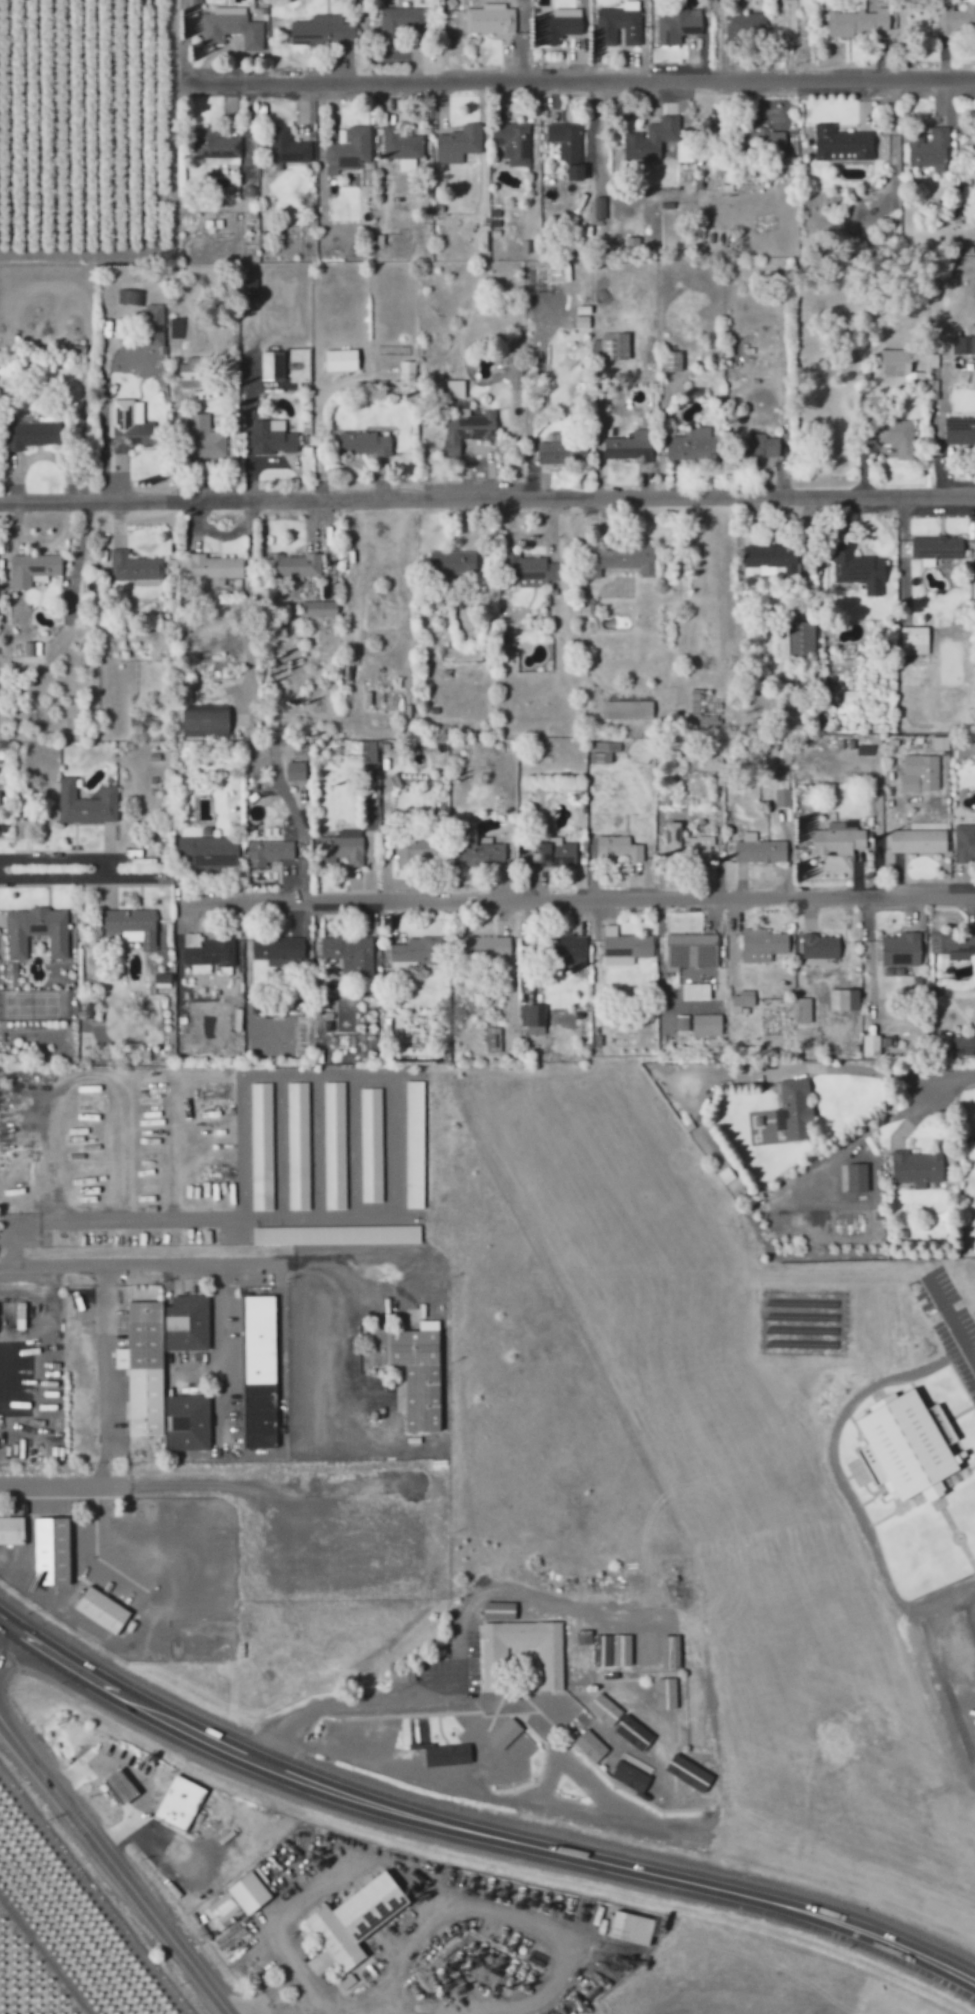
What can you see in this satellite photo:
building: (191, 1)
building: (226, 5)
building: (956, 18)
building: (490, 19)
building: (859, 21)
building: (399, 22)
building: (619, 22)
building: (227, 24)
building: (559, 25)
building: (744, 26)
building: (677, 27)
building: (321, 30)
road: (591, 76)
building: (338, 131)
building: (647, 134)
building: (562, 135)
building: (756, 136)
building: (509, 137)
building: (838, 138)
building: (211, 139)
building: (398, 139)
building: (454, 139)
building: (284, 142)
building: (347, 143)
building: (925, 143)
building: (219, 155)
building: (403, 160)
building: (249, 286)
building: (154, 325)
building: (964, 344)
building: (611, 346)
building: (341, 360)
building: (672, 361)
building: (898, 364)
building: (272, 365)
building: (513, 369)
building: (193, 373)
building: (407, 375)
building: (455, 389)
building: (129, 428)
building: (959, 433)
building: (33, 434)
building: (201, 437)
building: (272, 437)
building: (897, 437)
building: (364, 443)
building: (692, 445)
building: (629, 446)
building: (761, 447)
building: (560, 450)
road: (487, 494)
building: (936, 549)
building: (771, 556)
building: (622, 559)
building: (453, 563)
building: (293, 565)
building: (215, 566)
building: (33, 569)
building: (528, 570)
building: (859, 570)
building: (320, 608)
building: (798, 640)
building: (914, 640)
building: (705, 709)
building: (628, 710)
building: (205, 720)
building: (604, 752)
building: (296, 771)
building: (920, 773)
building: (783, 798)
building: (86, 804)
building: (271, 820)
building: (838, 839)
building: (918, 841)
building: (964, 842)
building: (342, 847)
building: (686, 847)
road: (82, 849)
building: (617, 849)
building: (480, 850)
building: (759, 850)
building: (210, 852)
building: (269, 852)
building: (415, 852)
building: (553, 853)
road: (615, 891)
building: (131, 926)
building: (37, 931)
building: (953, 944)
building: (762, 945)
building: (628, 946)
building: (484, 947)
building: (570, 949)
building: (690, 949)
building: (821, 949)
building: (902, 950)
building: (278, 951)
building: (416, 951)
building: (350, 954)
building: (208, 955)
building: (618, 961)
building: (162, 978)
building: (742, 999)
building: (804, 1010)
building: (88, 1011)
building: (533, 1018)
building: (682, 1023)
building: (707, 1025)
building: (492, 1040)
building: (963, 1045)
building: (945, 1047)
road: (854, 1070)
road: (953, 1076)
building: (794, 1110)
building: (371, 1145)
building: (414, 1145)
building: (298, 1146)
building: (334, 1146)
building: (262, 1147)
building: (918, 1168)
building: (857, 1178)
building: (337, 1235)
road: (221, 1259)
road: (952, 1321)
building: (413, 1370)
building: (259, 1371)
building: (145, 1383)
building: (883, 1402)
building: (908, 1449)
road: (57, 1489)
building: (12, 1531)
building: (52, 1552)
building: (102, 1609)
road: (2, 1619)
road: (2, 1626)
building: (584, 1636)
building: (550, 1668)
building: (406, 1675)
road: (937, 1675)
building: (419, 1740)
building: (590, 1745)
building: (448, 1754)
building: (634, 1763)
building: (630, 1776)
building: (119, 1786)
building: (179, 1802)
road: (478, 1829)
road: (114, 1867)
road: (416, 1881)
building: (236, 1901)
building: (355, 1919)
building: (632, 1927)
road: (304, 1986)
road: (253, 2010)

